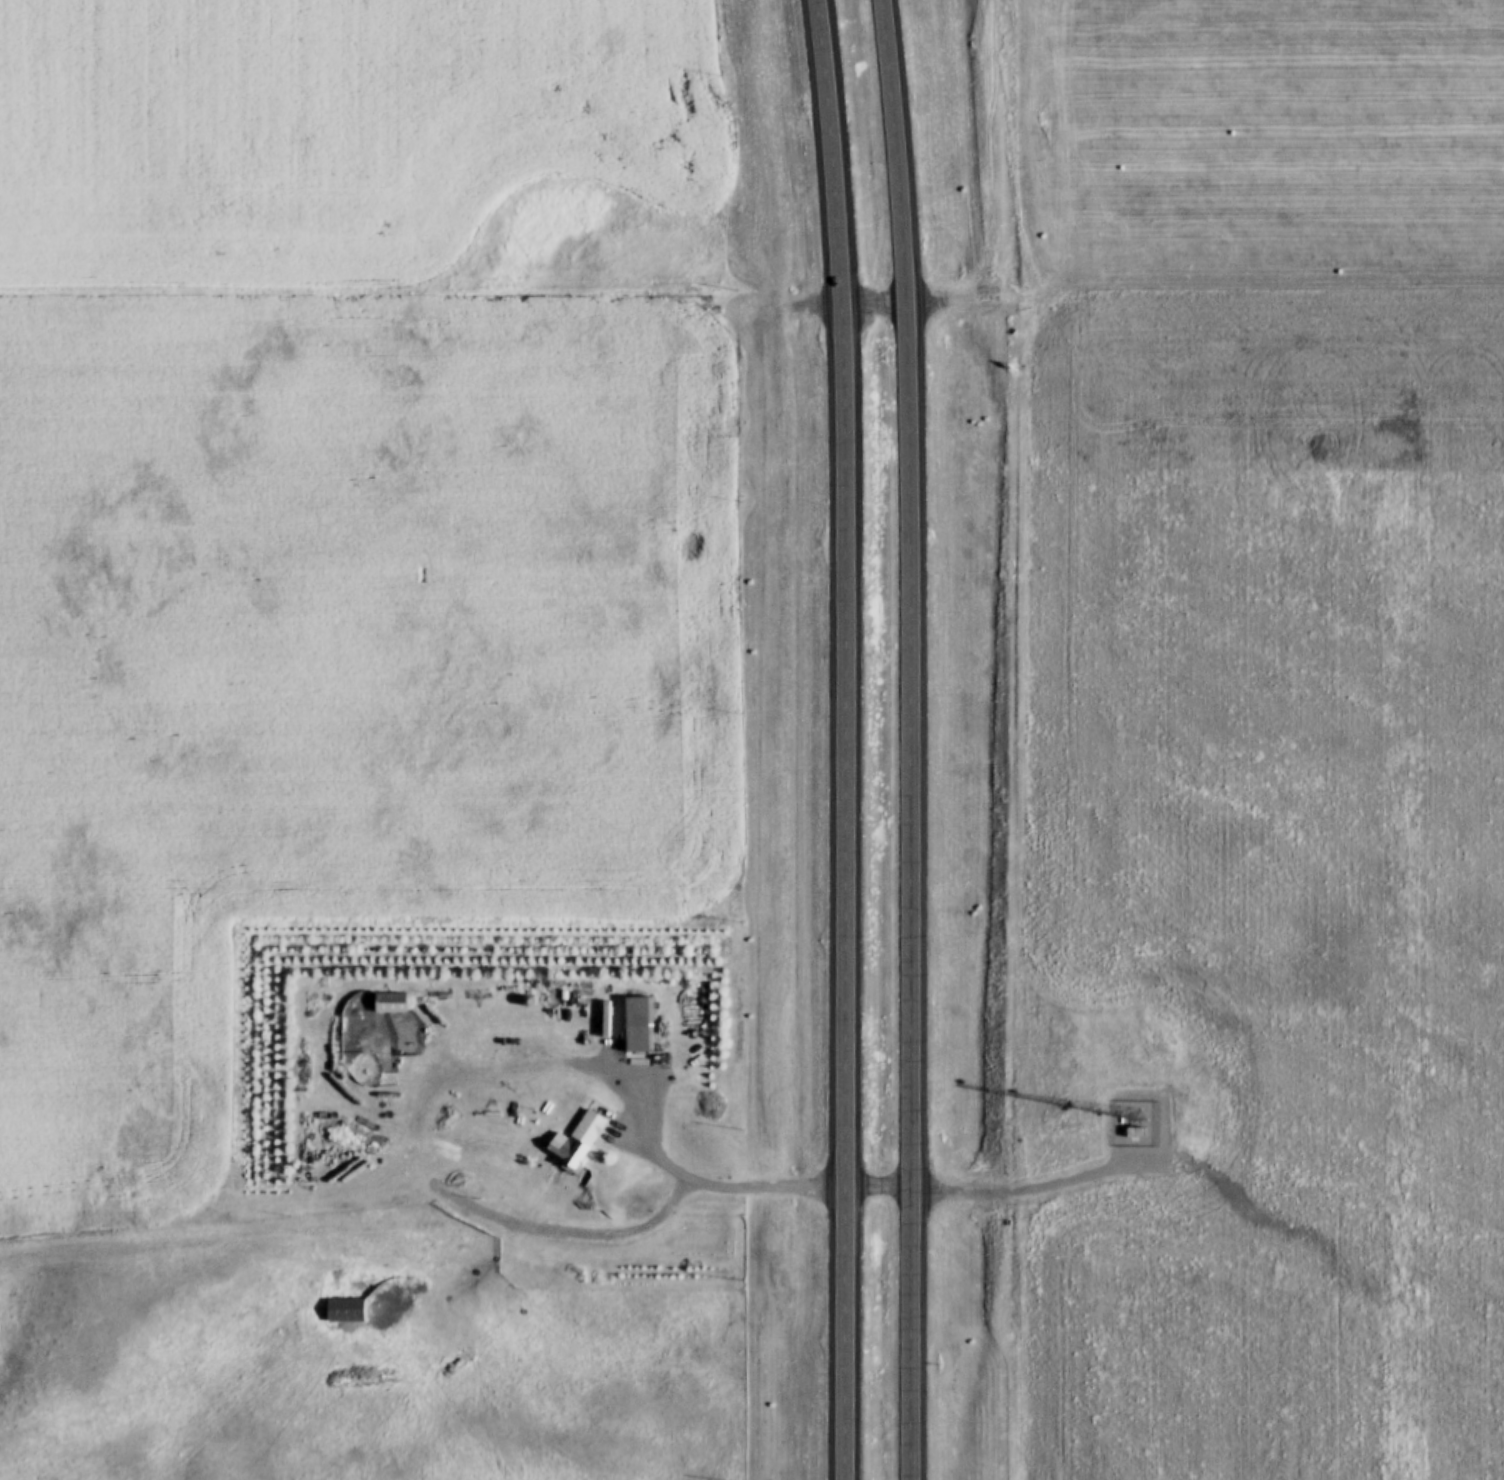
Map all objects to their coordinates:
road: (966, 304)
road: (875, 305)
road: (756, 713)
road: (846, 739)
road: (908, 739)
building: (530, 1002)
silo: (530, 1002)
building: (395, 1004)
building: (609, 1019)
building: (639, 1025)
building: (1139, 1133)
building: (582, 1142)
road: (679, 1171)
road: (880, 1188)
road: (1036, 1189)
road: (570, 1233)
building: (350, 1311)

